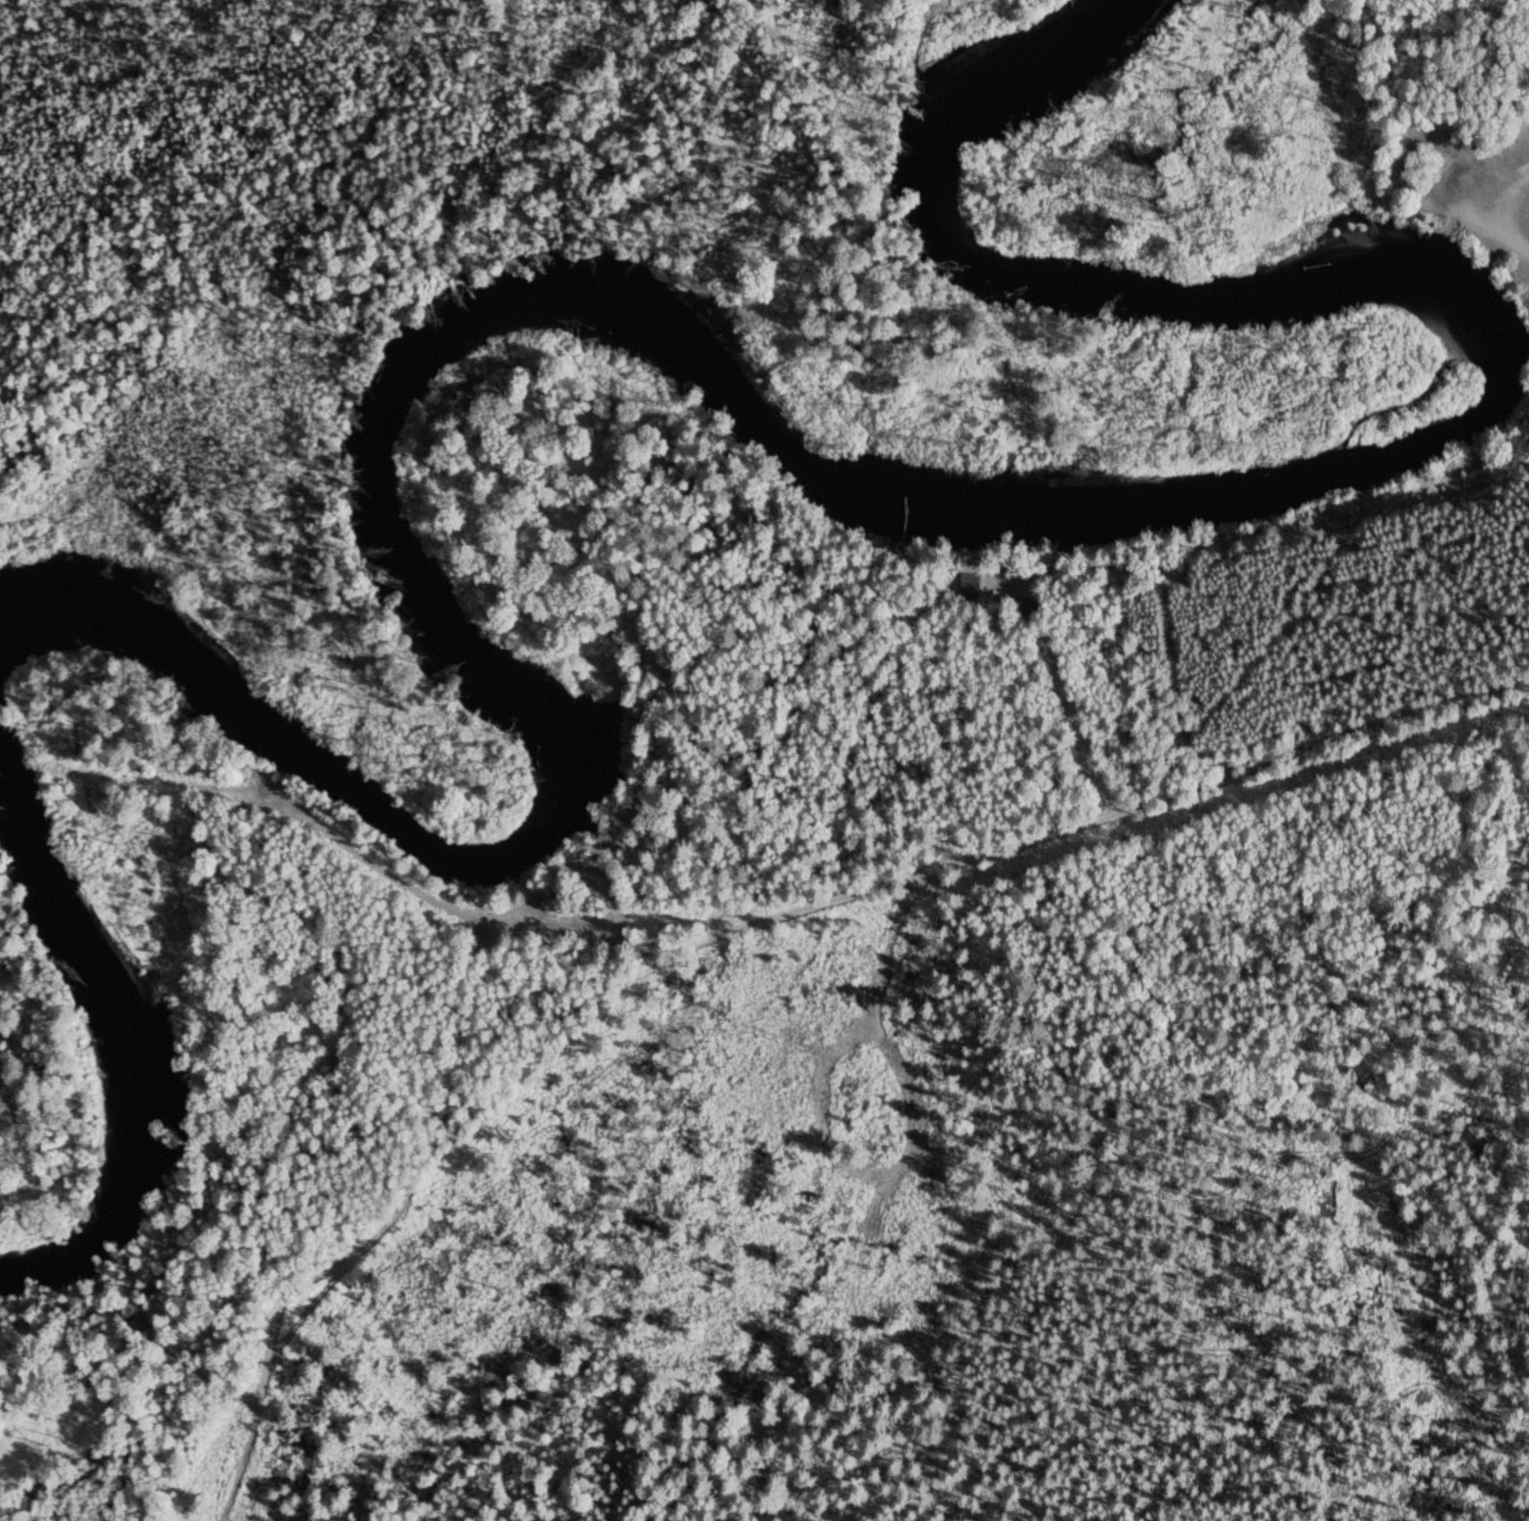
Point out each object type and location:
road: (1406, 154)
parking lot: (1475, 198)
road: (1463, 208)
river: (806, 443)
building: (972, 585)
building: (1034, 607)
road: (1231, 679)
building: (592, 872)
road: (891, 878)
river: (134, 1049)
road: (375, 1234)
building: (139, 1317)

